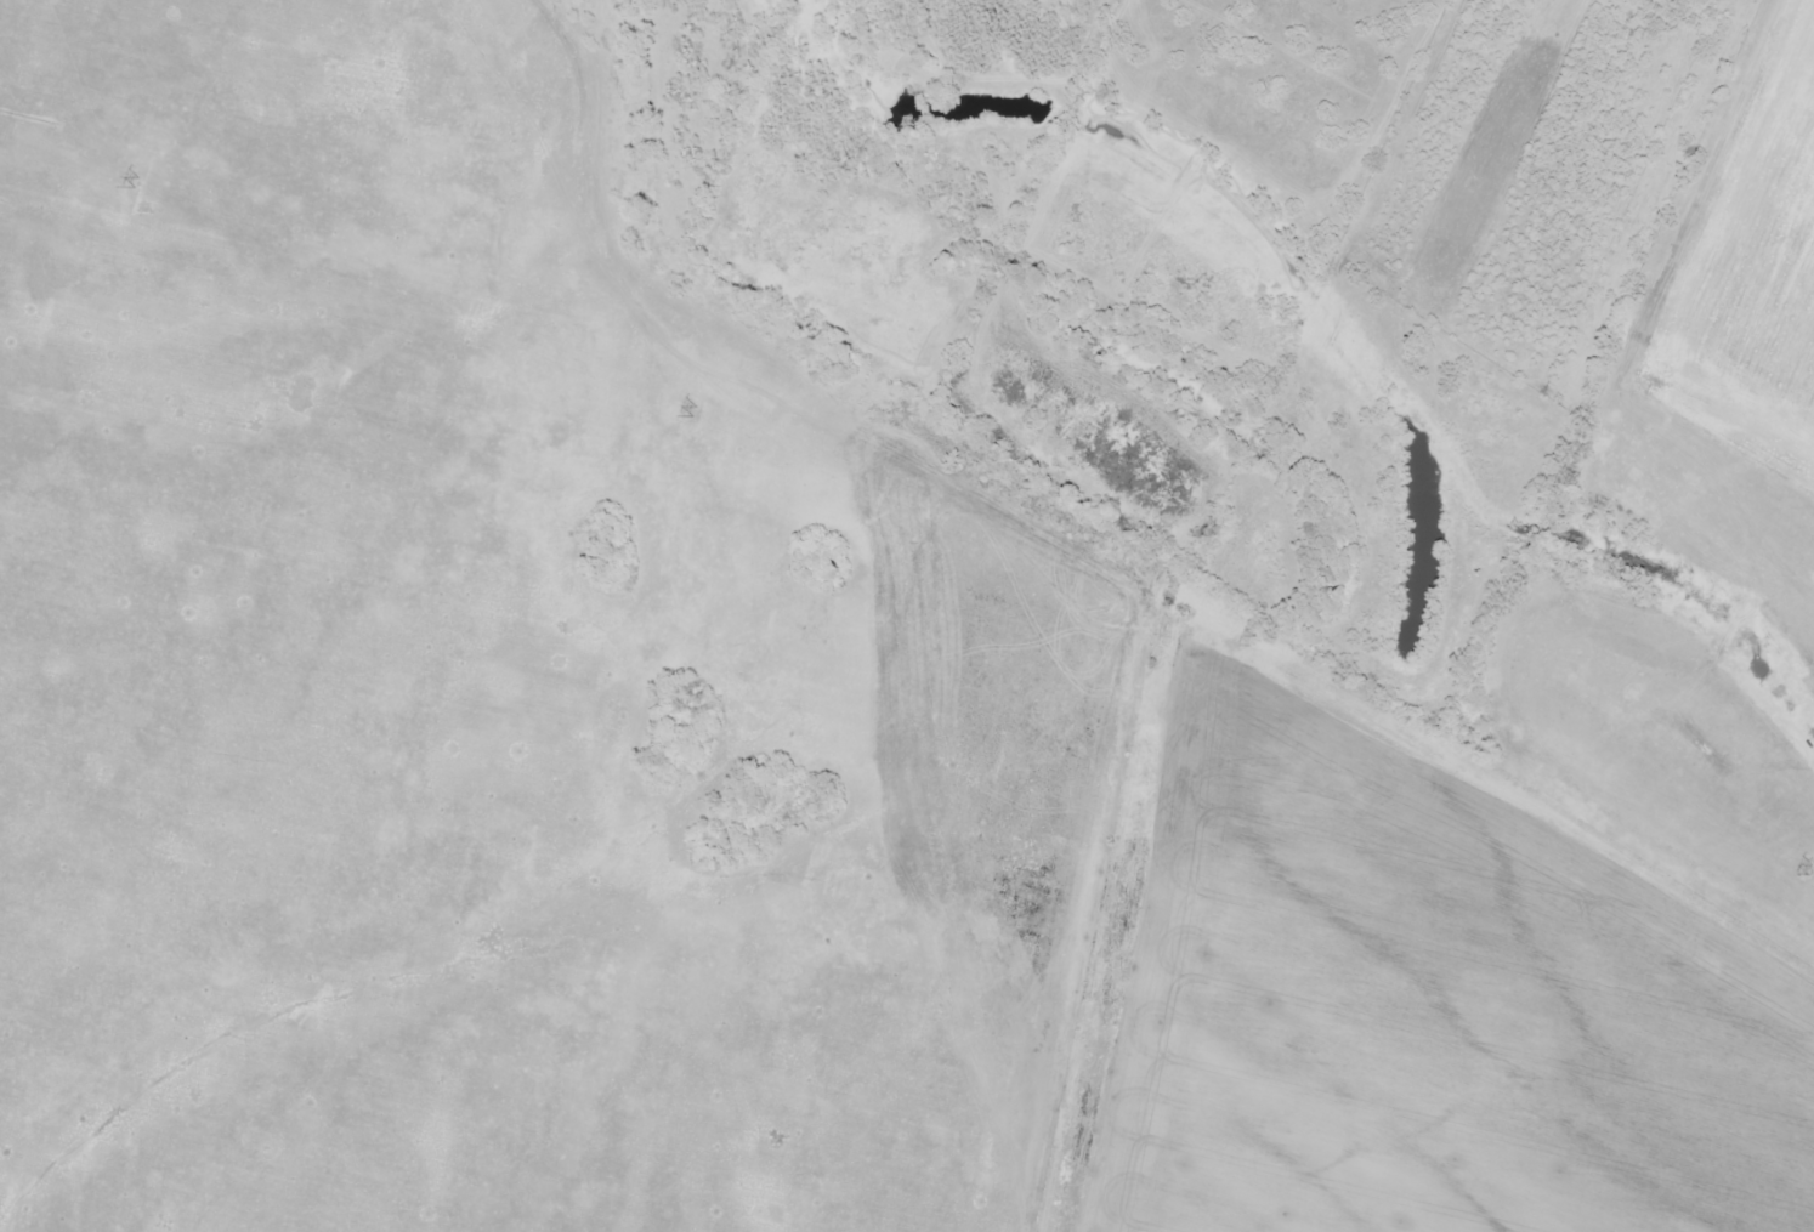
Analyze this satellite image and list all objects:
power tower: (135, 183)
power tower: (693, 410)
power tower: (1251, 642)
power tower: (1808, 869)

